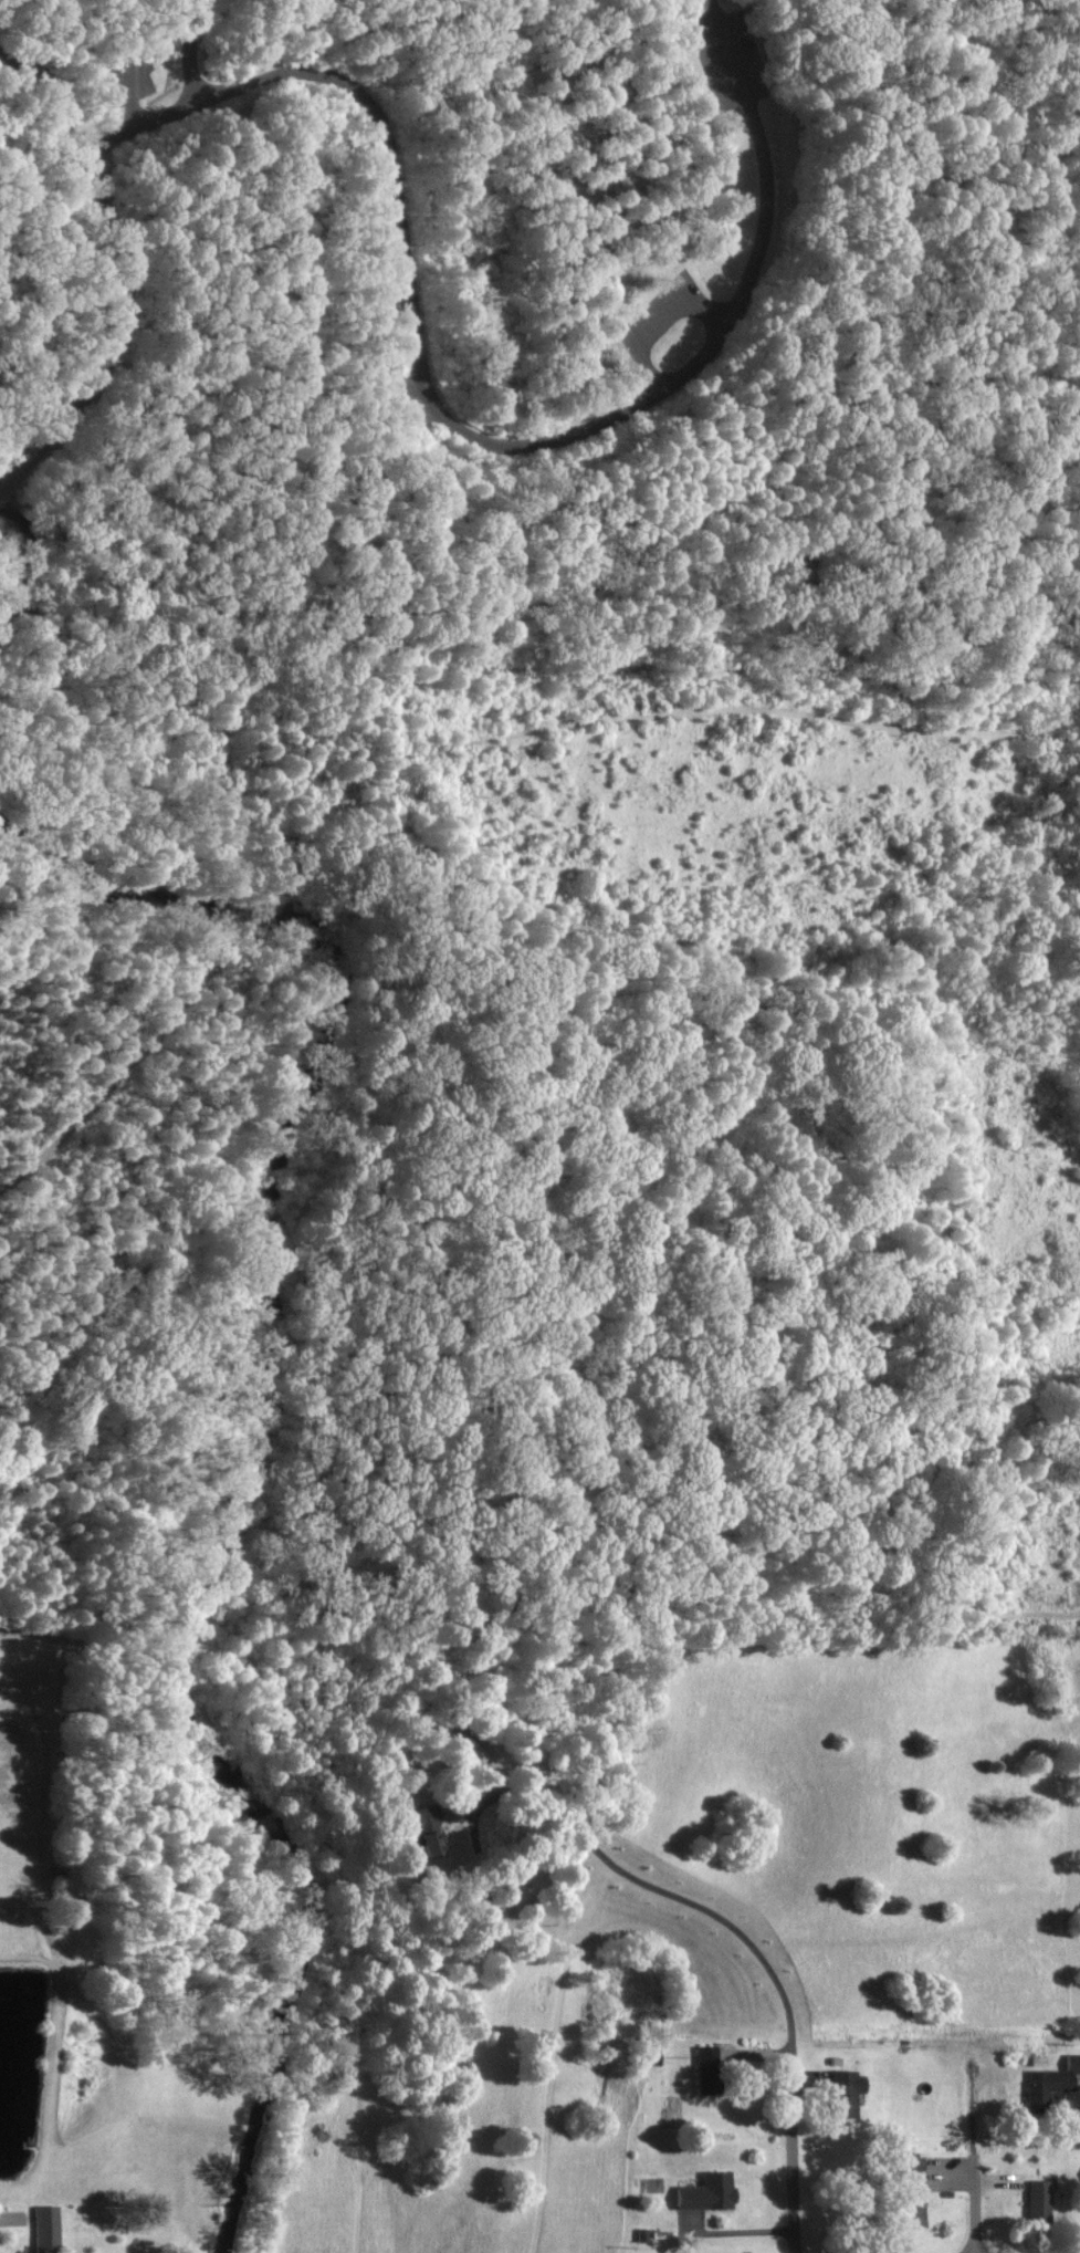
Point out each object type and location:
road: (755, 21)
road: (192, 48)
parking lot: (732, 59)
parking lot: (124, 79)
road: (130, 97)
building: (604, 228)
road: (115, 255)
parking lot: (660, 315)
road: (661, 325)
parking lot: (416, 397)
road: (459, 428)
road: (11, 470)
building: (469, 1751)
building: (424, 1829)
road: (680, 1897)
building: (648, 2056)
building: (703, 2057)
building: (1048, 2079)
building: (841, 2092)
road: (796, 2153)
road: (979, 2167)
building: (908, 2184)
building: (703, 2192)
building: (1035, 2201)
building: (49, 2229)

